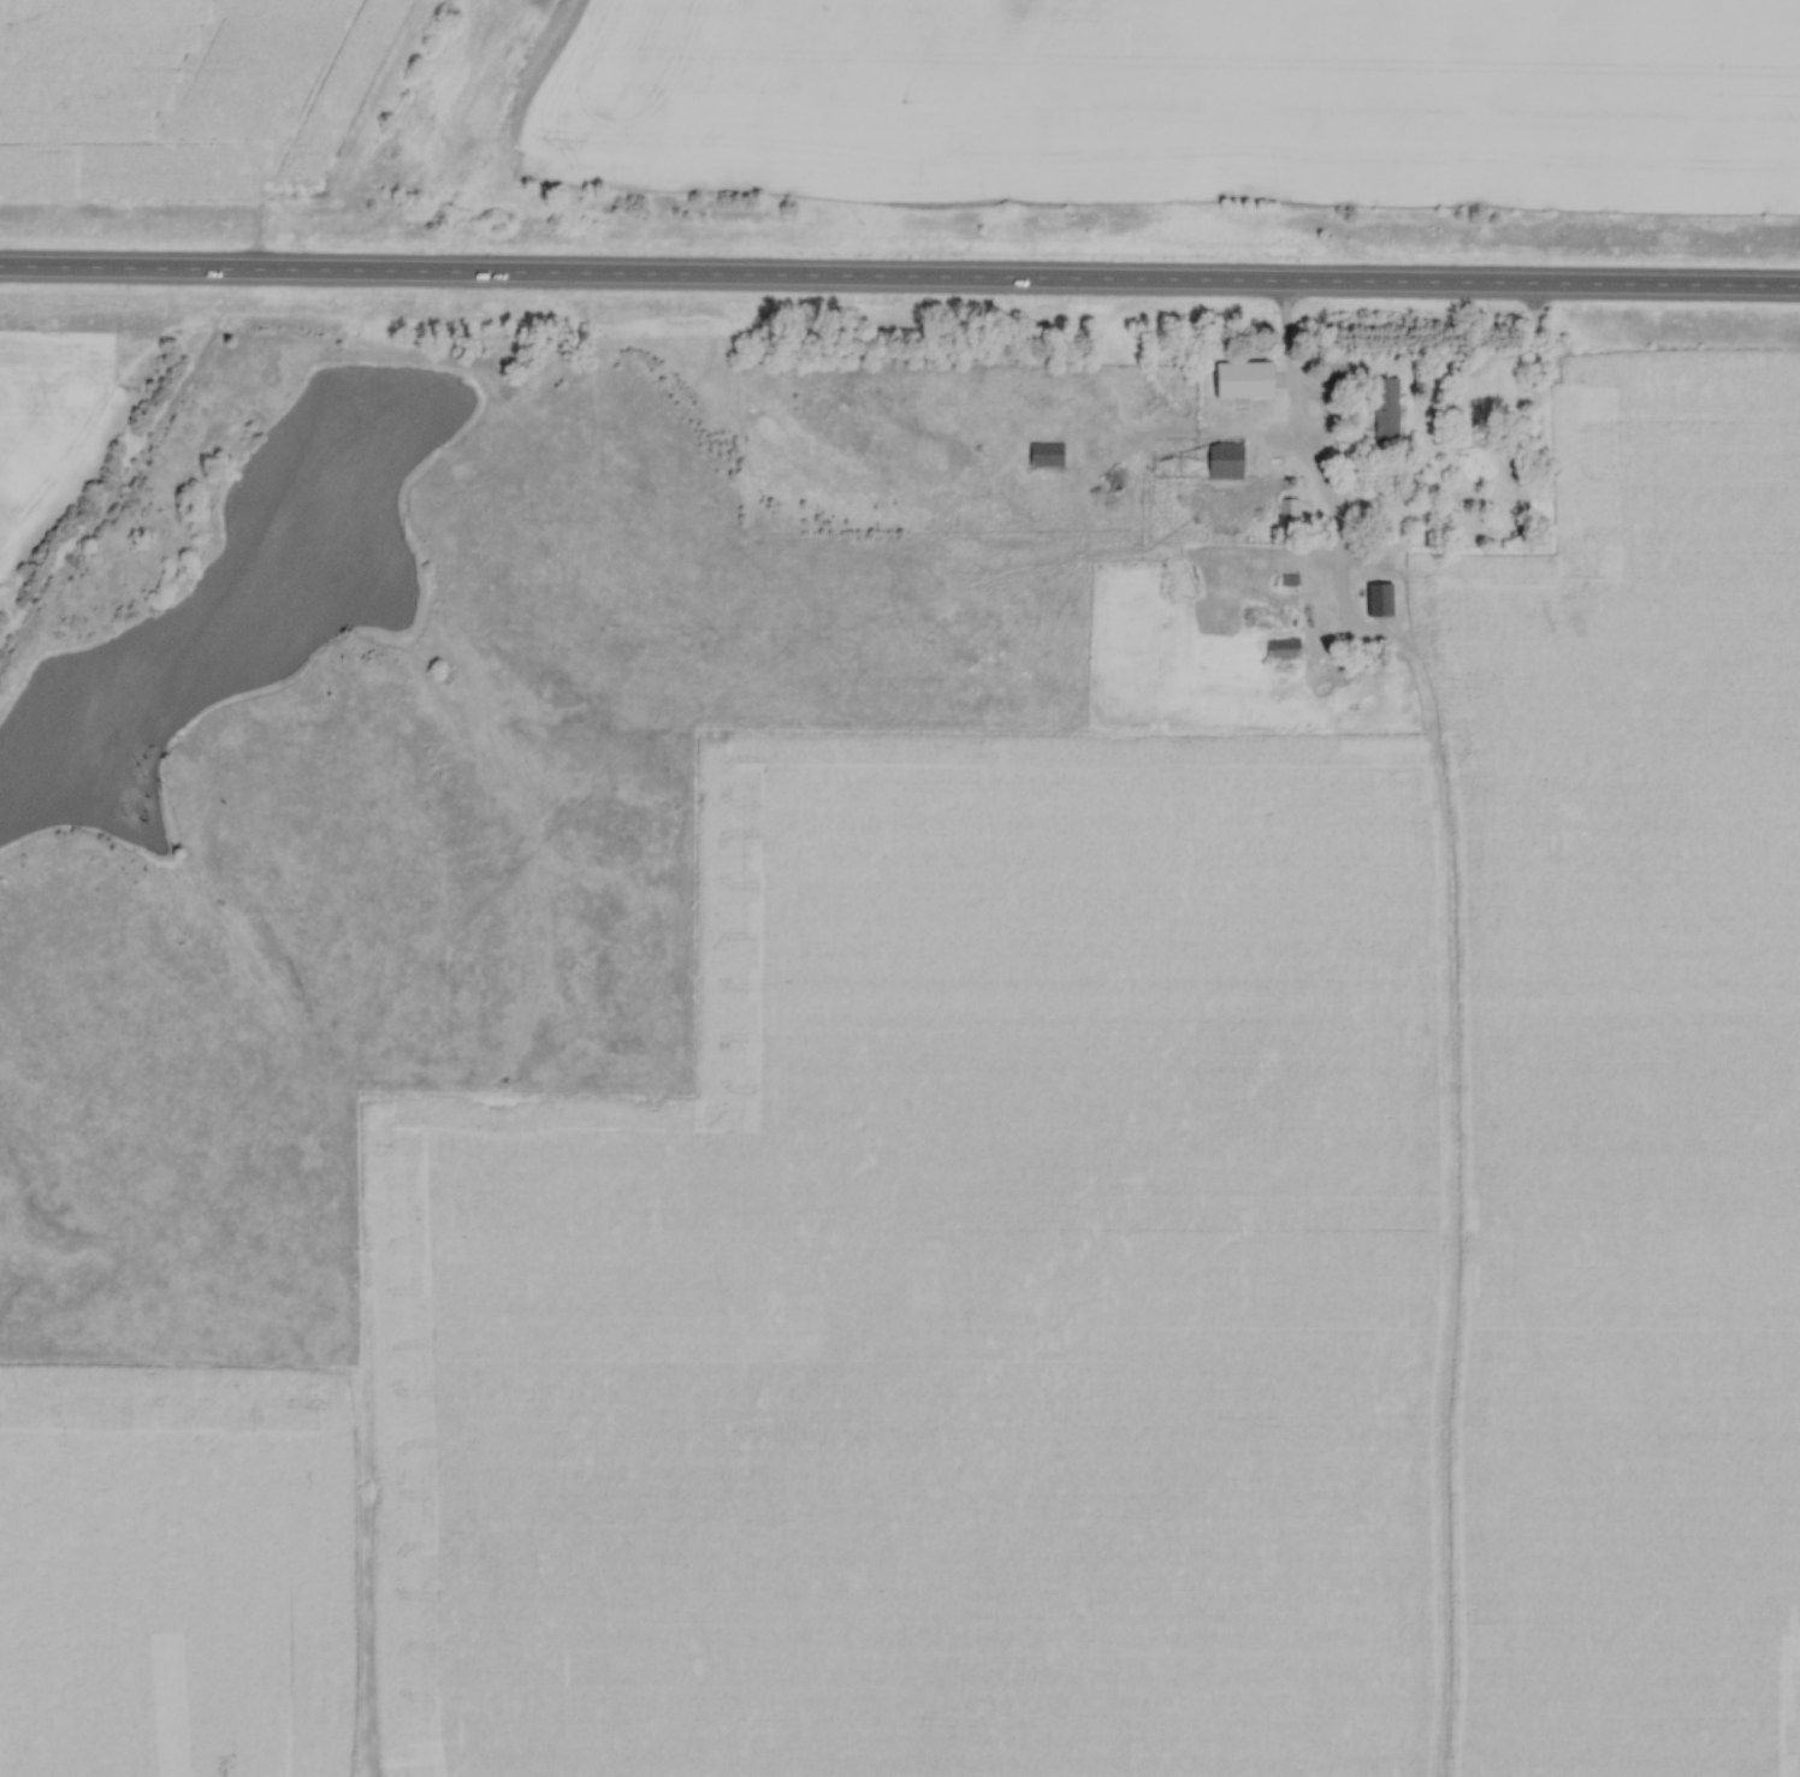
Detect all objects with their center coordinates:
road: (899, 280)
road: (1284, 327)
building: (1248, 380)
building: (1389, 409)
road: (1289, 414)
building: (1048, 455)
building: (1227, 461)
building: (1290, 511)
building: (1381, 600)
building: (1283, 648)

